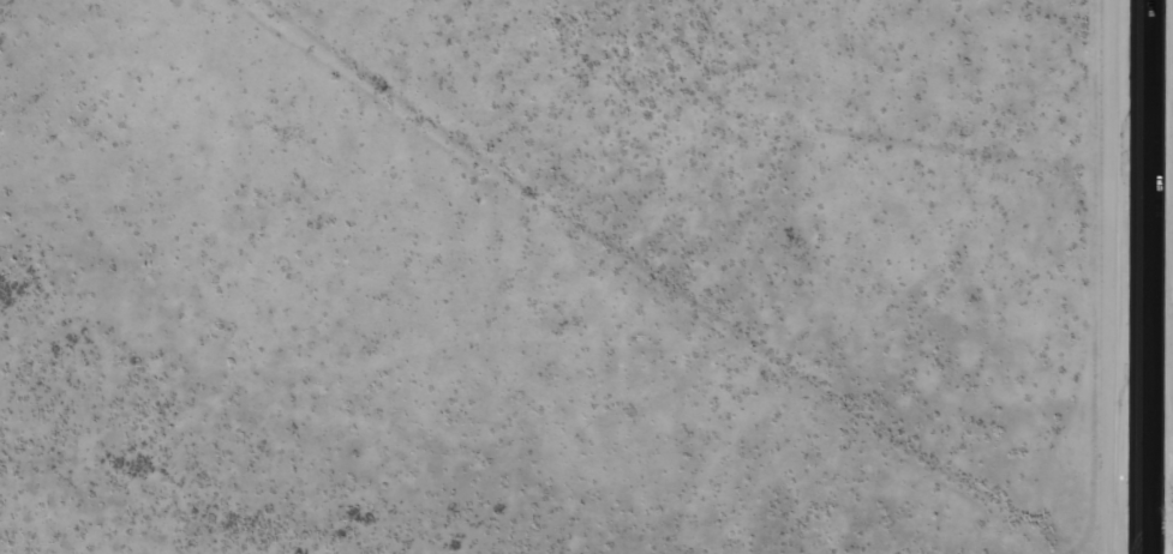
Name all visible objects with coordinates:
road: (1132, 276)

